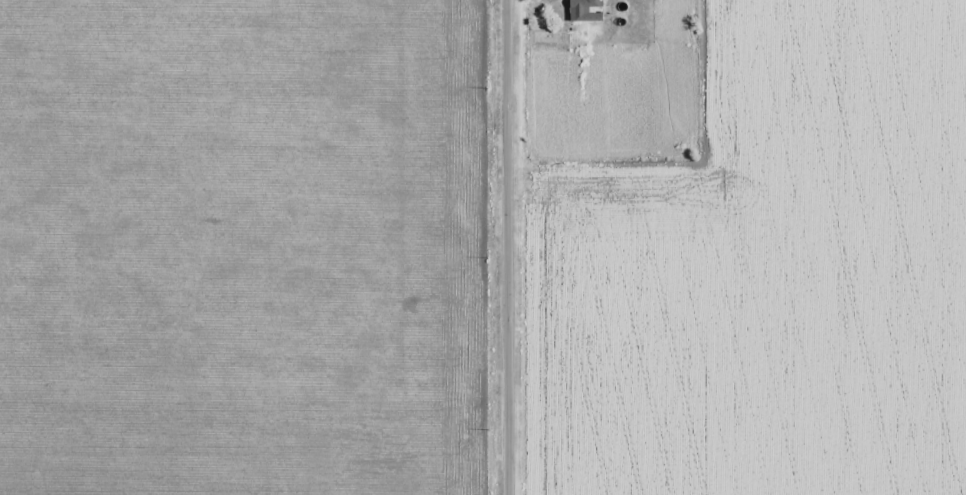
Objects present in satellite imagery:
road: (505, 247)

